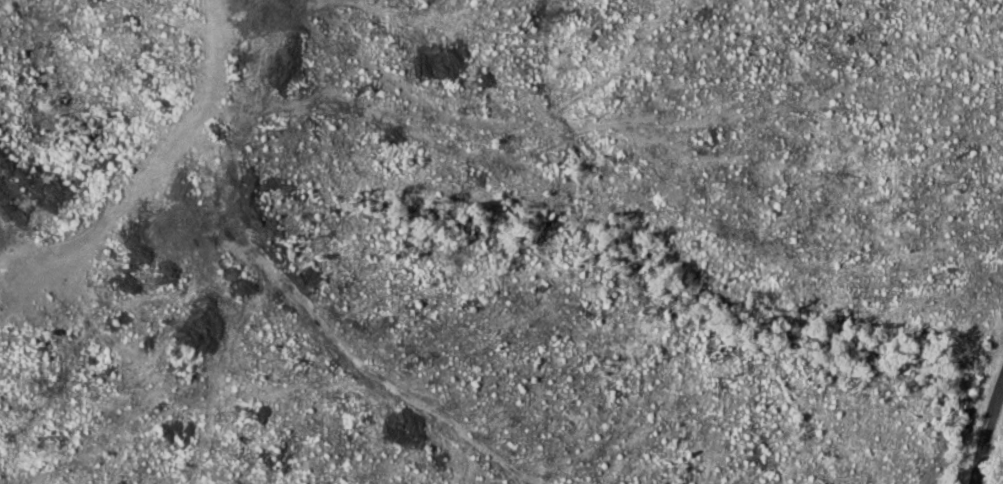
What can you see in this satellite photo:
road: (984, 430)

